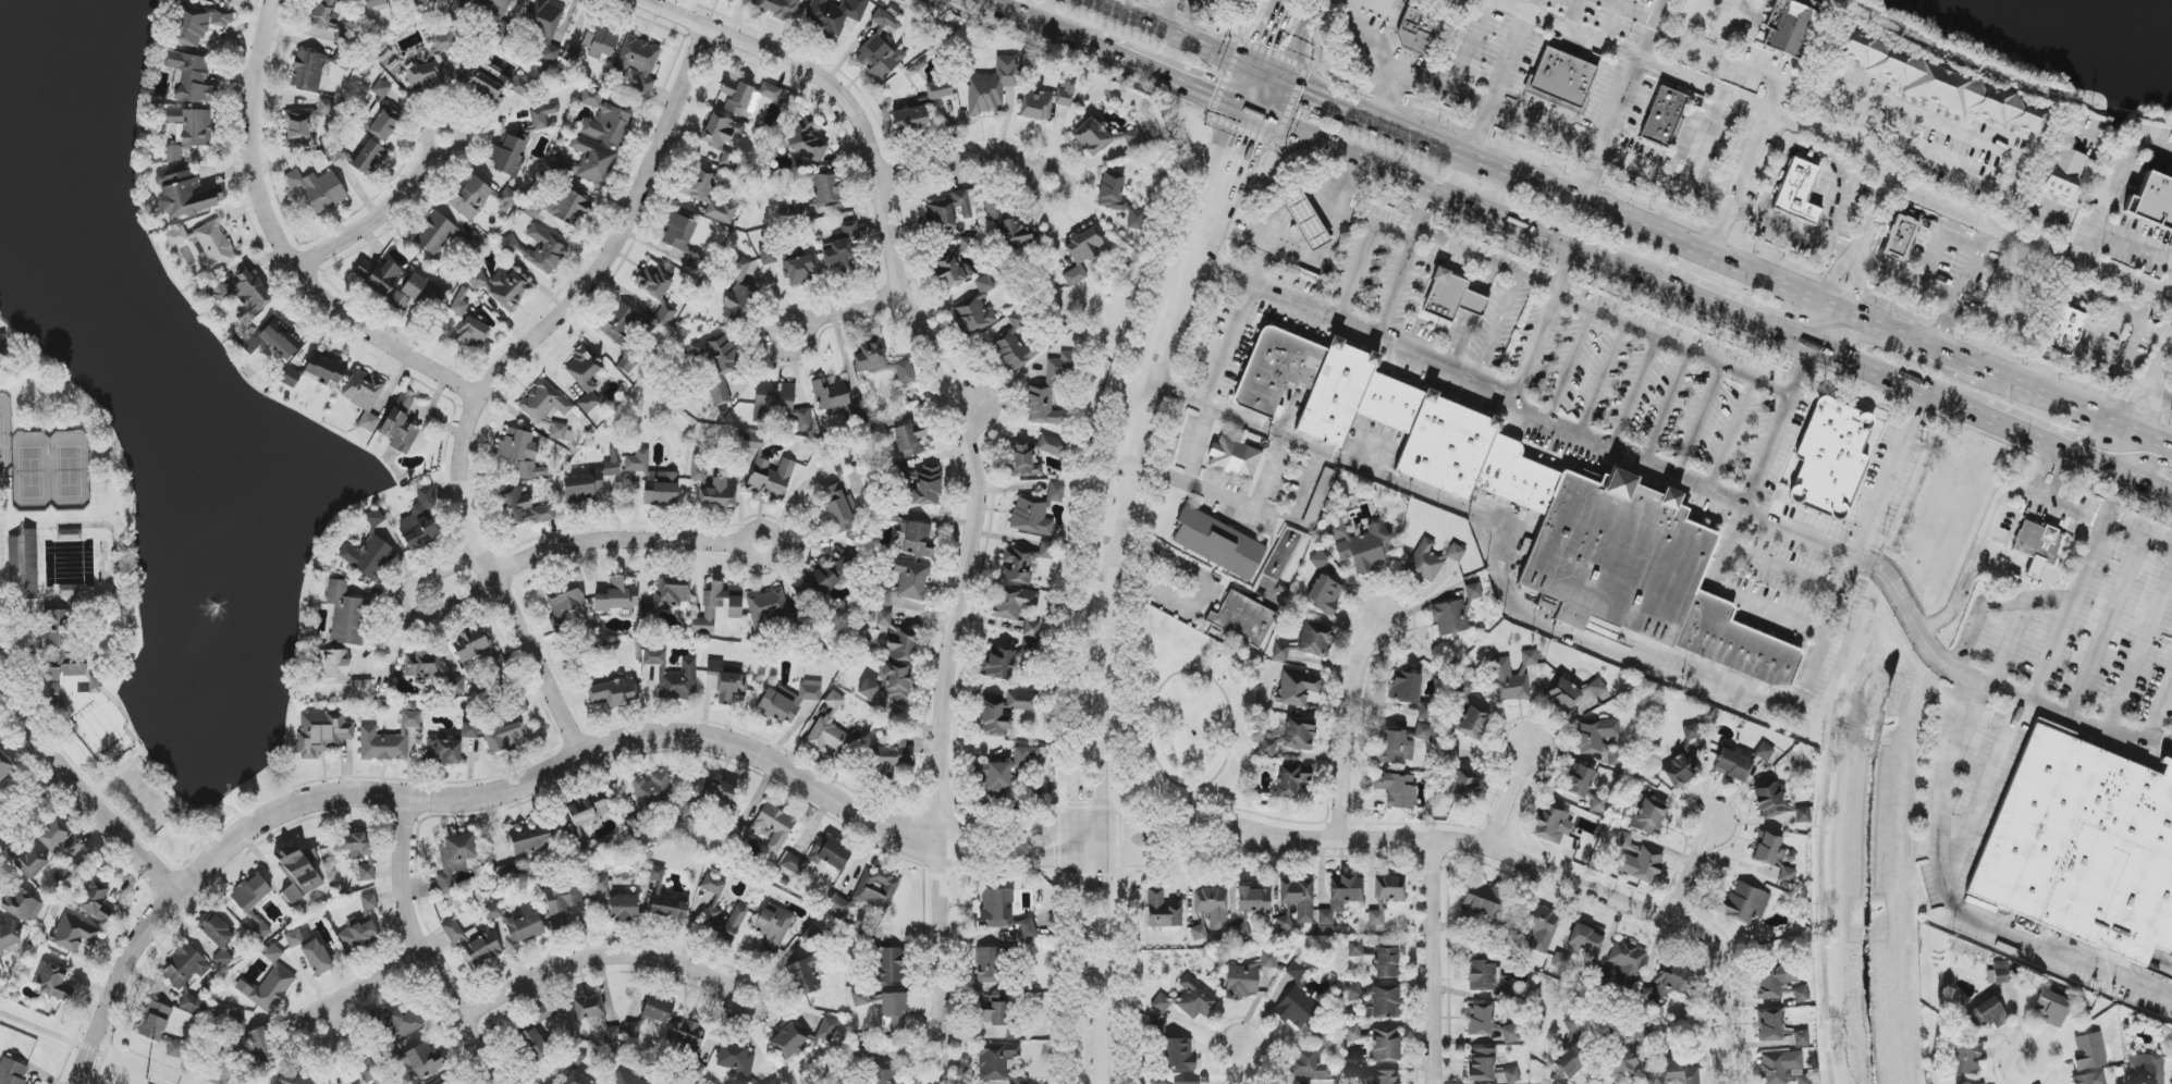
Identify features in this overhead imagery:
building: (206, 0)
building: (432, 1)
building: (375, 3)
building: (496, 8)
building: (778, 8)
road: (1633, 9)
road: (1162, 12)
building: (322, 14)
building: (835, 14)
building: (885, 20)
road: (1030, 22)
building: (545, 24)
building: (199, 25)
building: (1790, 25)
road: (1651, 29)
road: (1176, 32)
building: (1418, 32)
road: (1299, 38)
building: (443, 41)
traffic signals: (1262, 41)
road: (1359, 42)
building: (593, 44)
road: (1256, 54)
building: (426, 57)
building: (879, 58)
building: (638, 63)
road: (1735, 64)
road: (1268, 70)
road: (1458, 72)
building: (424, 74)
road: (1158, 76)
building: (191, 78)
building: (1562, 79)
building: (482, 81)
road: (1496, 83)
building: (1942, 85)
building: (516, 86)
building: (992, 86)
traffic signals: (1305, 86)
road: (1829, 86)
building: (381, 88)
building: (938, 89)
building: (770, 91)
road: (1388, 93)
road: (1470, 97)
building: (738, 98)
traffic signals: (1210, 98)
building: (1045, 101)
road: (1354, 104)
building: (542, 115)
road: (1250, 115)
building: (1662, 116)
building: (604, 120)
building: (909, 120)
building: (305, 123)
building: (383, 124)
building: (188, 131)
building: (721, 131)
road: (1611, 131)
road: (1839, 136)
building: (1104, 137)
building: (803, 140)
road: (1705, 140)
traffic signals: (1256, 144)
road: (1999, 151)
road: (450, 155)
building: (510, 155)
building: (369, 158)
building: (592, 161)
road: (959, 161)
road: (1248, 162)
road: (1840, 167)
building: (2064, 172)
road: (2038, 173)
road: (1741, 182)
road: (1034, 183)
road: (2118, 187)
building: (318, 189)
building: (826, 190)
building: (1797, 193)
building: (185, 194)
building: (471, 197)
building: (710, 197)
building: (506, 199)
building: (1118, 199)
building: (2155, 201)
road: (1467, 202)
road: (1726, 204)
building: (570, 208)
building: (952, 209)
road: (375, 219)
building: (1305, 220)
building: (1008, 226)
building: (434, 233)
building: (678, 234)
building: (1900, 237)
road: (1683, 239)
building: (473, 241)
road: (281, 243)
building: (206, 245)
building: (968, 245)
road: (1863, 245)
building: (538, 248)
building: (842, 249)
building: (1081, 254)
building: (768, 255)
road: (1411, 258)
road: (1322, 261)
building: (737, 268)
building: (801, 269)
building: (949, 269)
building: (378, 274)
building: (984, 284)
building: (502, 287)
road: (1967, 288)
road: (1685, 291)
building: (238, 292)
building: (418, 293)
building: (1451, 297)
building: (459, 301)
building: (738, 303)
road: (1606, 304)
road: (854, 308)
road: (1770, 311)
road: (798, 317)
building: (974, 317)
road: (1546, 321)
building: (618, 322)
road: (2135, 324)
building: (2066, 331)
building: (471, 332)
building: (248, 337)
building: (282, 338)
road: (1227, 344)
road: (1877, 344)
building: (1015, 345)
building: (1, 347)
road: (929, 353)
road: (1839, 355)
road: (2160, 355)
road: (1965, 357)
building: (881, 361)
building: (627, 364)
building: (717, 365)
road: (2116, 365)
road: (492, 374)
building: (585, 377)
building: (291, 378)
road: (2161, 390)
building: (1048, 392)
building: (364, 396)
building: (832, 397)
road: (2130, 398)
building: (778, 404)
road: (2081, 405)
building: (547, 407)
road: (2152, 408)
road: (2004, 422)
road: (1784, 424)
building: (400, 426)
road: (1594, 432)
building: (754, 441)
building: (909, 441)
road: (2090, 442)
building: (1052, 445)
building: (521, 453)
park: (42, 454)
building: (1831, 457)
building: (1235, 458)
road: (2145, 458)
building: (1023, 460)
road: (1109, 464)
road: (2101, 465)
building: (697, 467)
road: (1164, 473)
building: (771, 478)
building: (653, 480)
building: (591, 481)
building: (924, 485)
building: (719, 494)
road: (1222, 494)
building: (1318, 498)
road: (1301, 500)
building: (2079, 501)
building: (1534, 506)
building: (524, 509)
building: (835, 509)
building: (1035, 512)
building: (420, 520)
road: (747, 533)
building: (912, 538)
road: (2138, 538)
road: (614, 540)
building: (1218, 543)
building: (1362, 545)
building: (2035, 547)
building: (1456, 553)
building: (369, 555)
building: (1318, 559)
building: (25, 562)
building: (1023, 562)
building: (1424, 563)
road: (1788, 572)
building: (829, 576)
building: (908, 581)
road: (1204, 591)
building: (1473, 591)
road: (1731, 592)
building: (1324, 594)
building: (617, 596)
building: (667, 596)
road: (2061, 601)
building: (564, 602)
fountain: (219, 605)
building: (719, 606)
building: (766, 607)
building: (1017, 608)
road: (405, 609)
building: (345, 614)
building: (1450, 617)
building: (876, 618)
building: (1242, 618)
road: (2107, 626)
building: (1315, 639)
road: (1612, 639)
building: (60, 644)
building: (474, 646)
building: (903, 648)
road: (2051, 649)
road: (2142, 649)
building: (1280, 652)
building: (1529, 657)
road: (1114, 658)
building: (998, 664)
building: (421, 665)
building: (335, 667)
building: (674, 676)
road: (1207, 676)
building: (1509, 681)
building: (726, 682)
building: (454, 685)
road: (1942, 685)
building: (889, 686)
building: (1404, 687)
building: (361, 688)
building: (1297, 688)
building: (1596, 688)
building: (613, 692)
building: (1562, 694)
building: (787, 701)
building: (1020, 701)
building: (516, 706)
road: (2160, 709)
building: (1427, 711)
building: (1470, 713)
street lamp: (1131, 717)
building: (994, 718)
park: (1186, 718)
road: (1130, 720)
road: (1343, 722)
road: (2016, 725)
road: (1125, 726)
building: (469, 730)
building: (833, 731)
building: (322, 732)
building: (1422, 732)
building: (1289, 737)
building: (504, 739)
building: (389, 740)
building: (1600, 740)
building: (1396, 748)
building: (1688, 748)
building: (443, 751)
building: (1764, 752)
building: (1030, 755)
building: (893, 756)
building: (1732, 765)
building: (4, 766)
building: (1292, 779)
building: (1580, 780)
road: (1133, 785)
building: (1462, 785)
road: (26, 789)
building: (652, 789)
building: (1397, 790)
building: (719, 791)
road: (83, 794)
road: (1511, 800)
building: (1769, 800)
road: (454, 801)
building: (1597, 802)
street lamp: (1202, 804)
building: (689, 811)
road: (1189, 812)
building: (1803, 815)
building: (1649, 816)
building: (1553, 823)
road: (1008, 825)
building: (775, 826)
road: (1821, 826)
building: (637, 827)
building: (53, 835)
building: (530, 838)
road: (946, 839)
road: (1070, 839)
road: (1415, 840)
building: (74, 846)
building: (2083, 848)
building: (1768, 849)
building: (357, 851)
building: (818, 857)
road: (1007, 857)
building: (1637, 860)
building: (455, 861)
building: (32, 863)
building: (298, 872)
road: (1692, 873)
building: (1787, 875)
building: (713, 884)
building: (1389, 888)
building: (250, 892)
building: (1341, 896)
building: (664, 898)
building: (1299, 898)
building: (1254, 900)
building: (1483, 900)
building: (96, 901)
building: (615, 901)
building: (369, 902)
building: (561, 902)
building: (1745, 902)
building: (22, 906)
building: (1213, 907)
building: (996, 908)
building: (1162, 910)
building: (492, 912)
building: (1376, 915)
building: (725, 922)
building: (1284, 923)
building: (773, 925)
building: (525, 927)
building: (1542, 927)
building: (1028, 929)
building: (1240, 931)
building: (453, 932)
building: (1199, 933)
building: (73, 934)
building: (9, 935)
building: (358, 936)
building: (293, 937)
building: (812, 937)
building: (218, 938)
road: (2060, 944)
building: (482, 946)
building: (1580, 946)
building: (1355, 948)
road: (420, 952)
road: (600, 952)
building: (273, 953)
building: (317, 958)
road: (1080, 960)
road: (936, 961)
building: (1627, 961)
building: (1385, 962)
road: (1435, 963)
building: (892, 964)
building: (987, 964)
building: (185, 966)
building: (1999, 973)
building: (0, 975)
building: (1481, 975)
building: (805, 976)
road: (361, 977)
building: (1248, 977)
building: (1774, 980)
building: (53, 982)
building: (1669, 983)
building: (272, 989)
building: (1801, 994)
building: (860, 998)
building: (1195, 998)
building: (1298, 999)
building: (1378, 999)
building: (1161, 1003)
building: (193, 1005)
building: (588, 1007)
building: (2052, 1008)
building: (658, 1010)
building: (994, 1010)
building: (543, 1012)
building: (894, 1012)
building: (1985, 1012)
building: (400, 1020)
building: (154, 1021)
road: (1723, 1023)
building: (236, 1024)
building: (1488, 1024)
building: (1769, 1024)
building: (633, 1030)
road: (45, 1032)
building: (1352, 1033)
building: (612, 1034)
building: (687, 1034)
building: (802, 1037)
building: (1801, 1038)
building: (535, 1043)
building: (1386, 1045)
building: (262, 1047)
building: (2089, 1051)
building: (576, 1055)
building: (1179, 1055)
building: (1625, 1056)
building: (1964, 1056)
building: (736, 1059)
building: (996, 1060)
building: (1572, 1060)
building: (420, 1061)
building: (1308, 1061)
building: (1481, 1064)
road: (1239, 1065)
building: (1783, 1068)
building: (2146, 1069)
building: (12, 1072)
building: (1678, 1072)
road: (2027, 1073)
building: (879, 1074)
building: (371, 1075)
building: (1512, 1075)
building: (1385, 1076)
building: (295, 1077)
building: (577, 1079)
building: (628, 1079)
building: (2089, 1079)
building: (441, 1081)
building: (1020, 1081)
building: (1157, 1081)
building: (772, 1082)
building: (2171, 1082)
building: (1187, 1083)
building: (1558, 1083)

